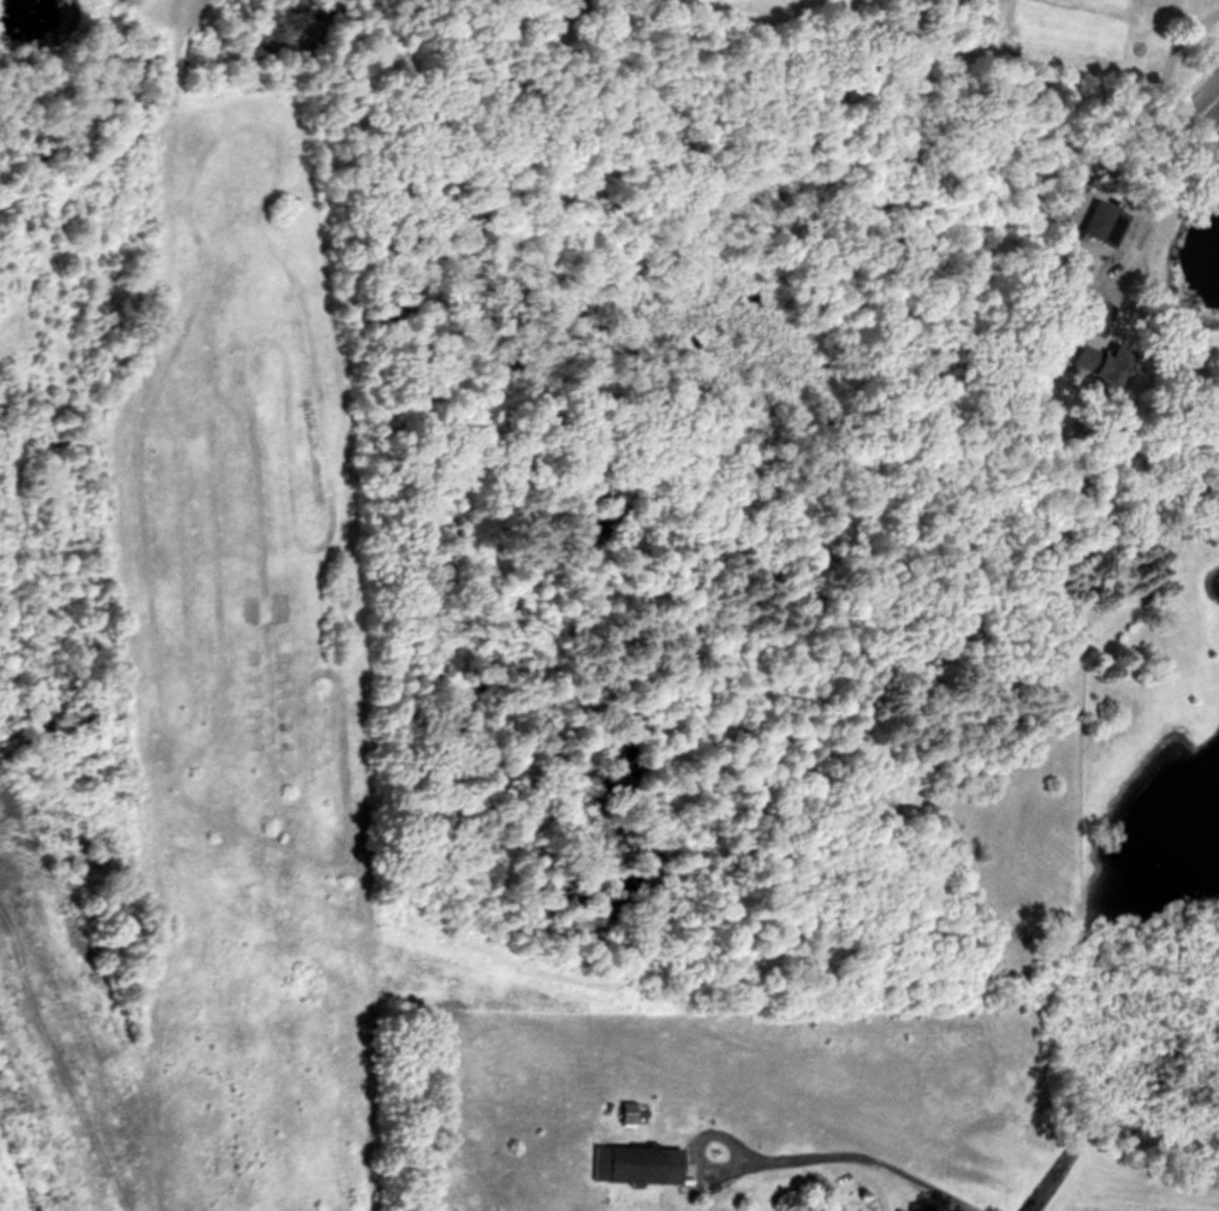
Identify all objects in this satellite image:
building: (1106, 221)
building: (1099, 360)
building: (629, 1110)
road: (843, 1152)
building: (637, 1160)

